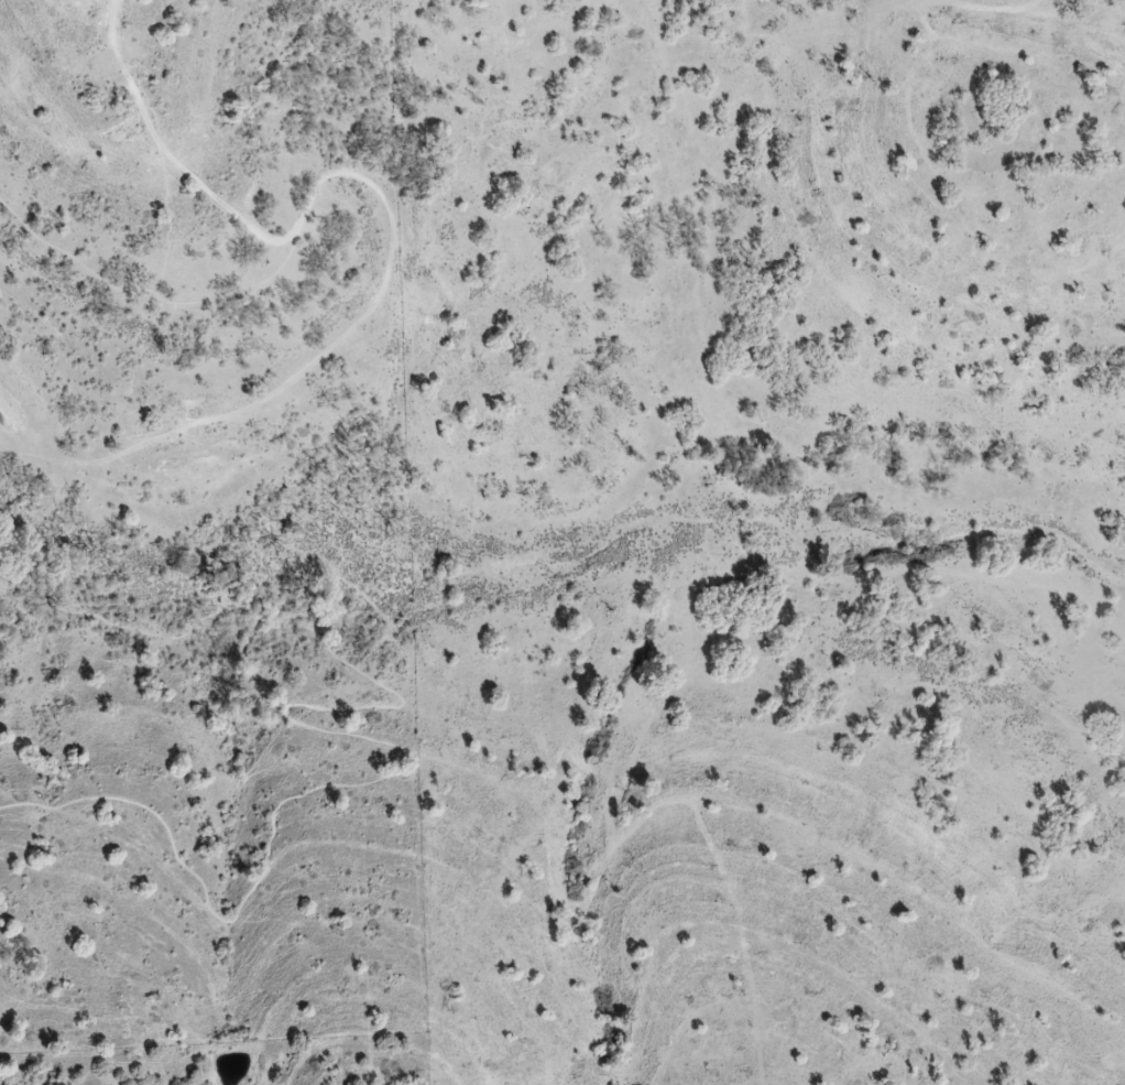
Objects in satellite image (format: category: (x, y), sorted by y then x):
road: (161, 147)
road: (143, 291)
road: (330, 347)
road: (22, 456)
road: (341, 734)

